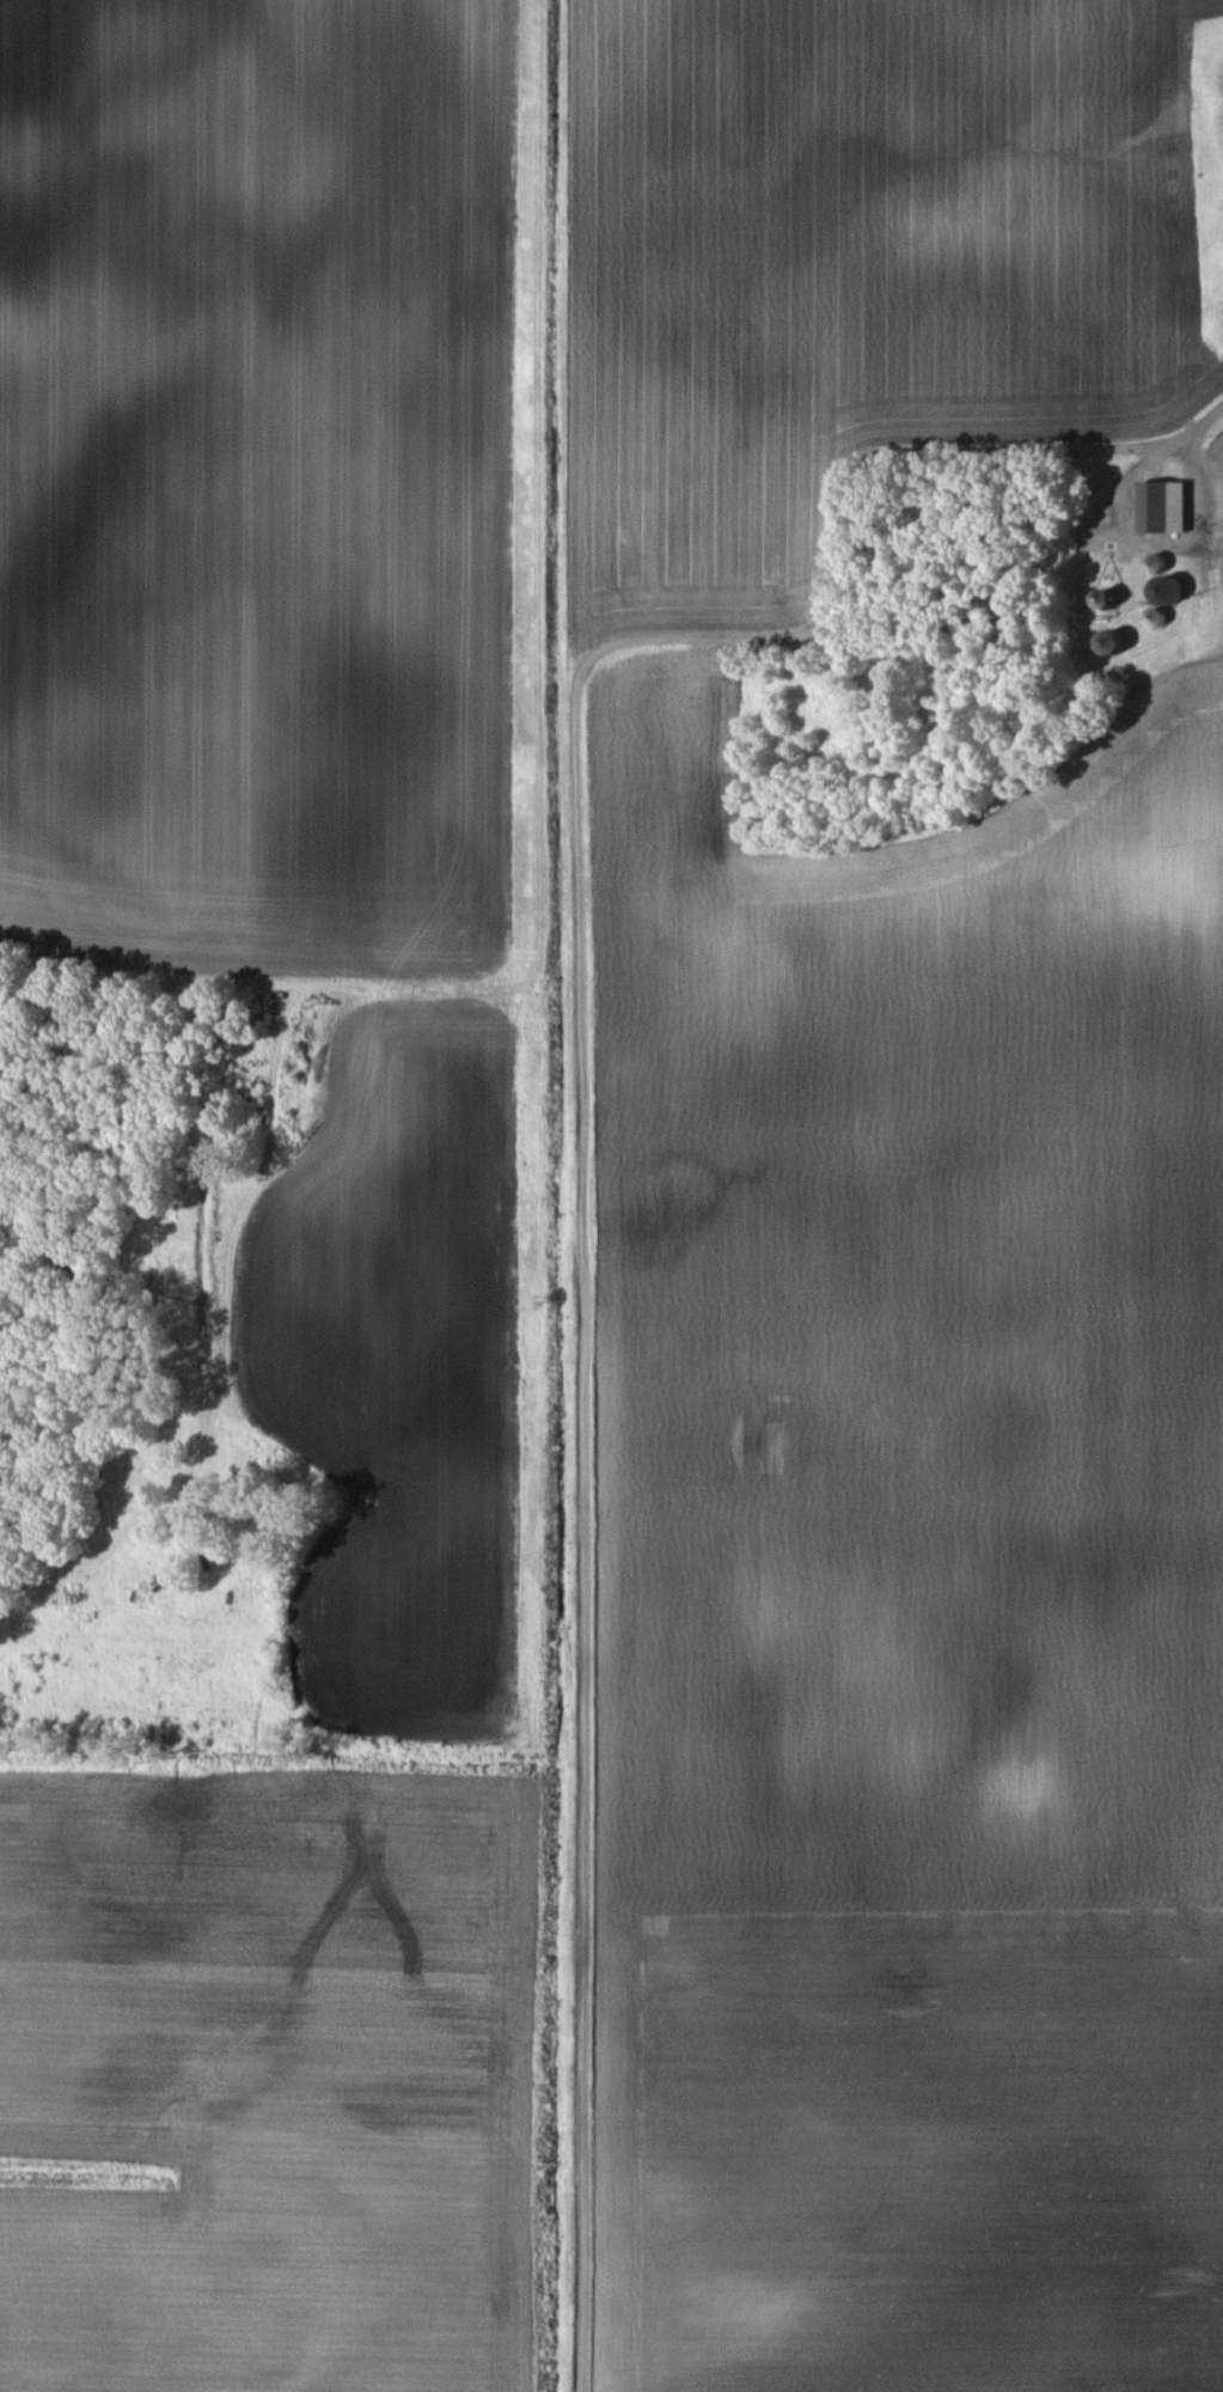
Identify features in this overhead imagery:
road: (1209, 422)
building: (1156, 508)
road: (1141, 543)
building: (1149, 566)
building: (1158, 593)
building: (1095, 602)
building: (1150, 620)
building: (1107, 643)

